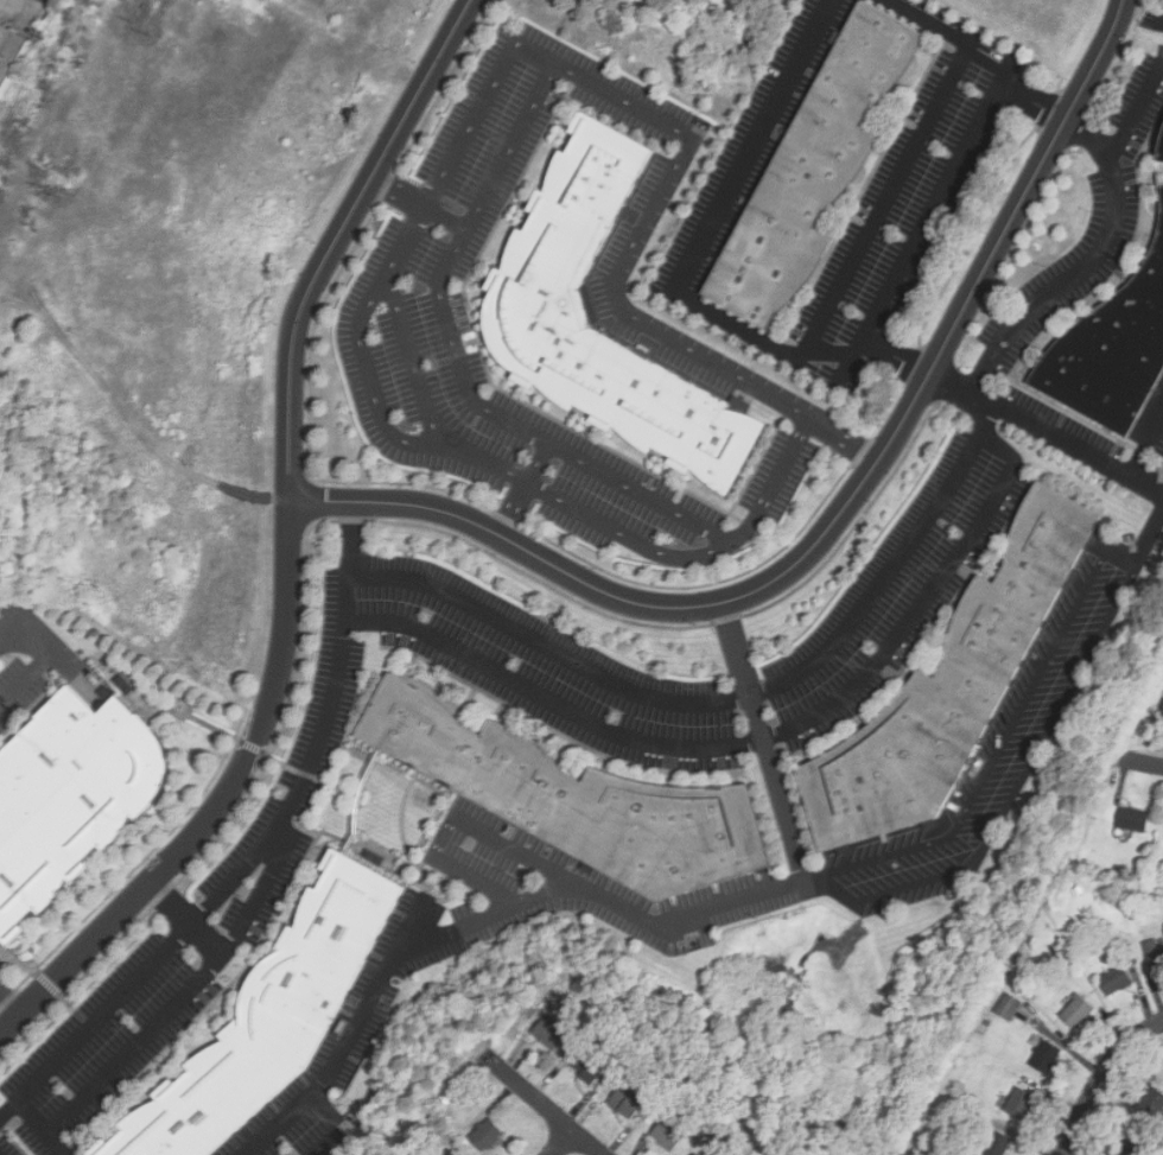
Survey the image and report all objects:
road: (1143, 6)
road: (953, 33)
building: (9, 53)
road: (538, 55)
road: (1034, 101)
road: (1143, 106)
road: (565, 121)
building: (1162, 156)
building: (816, 169)
road: (523, 199)
road: (418, 204)
road: (339, 239)
road: (628, 253)
road: (483, 280)
building: (538, 305)
road: (1011, 329)
road: (484, 336)
road: (764, 339)
road: (468, 342)
building: (1112, 354)
road: (898, 357)
road: (487, 372)
road: (955, 379)
road: (517, 383)
road: (373, 387)
road: (593, 430)
road: (1149, 442)
road: (794, 449)
road: (539, 463)
road: (672, 472)
road: (618, 481)
road: (513, 508)
road: (837, 521)
road: (351, 539)
road: (896, 566)
road: (738, 647)
road: (548, 648)
road: (47, 654)
building: (953, 690)
road: (43, 700)
road: (169, 704)
road: (28, 706)
road: (158, 716)
road: (754, 742)
road: (273, 755)
road: (1144, 763)
road: (780, 786)
road: (360, 799)
building: (579, 799)
building: (70, 800)
building: (428, 801)
road: (222, 807)
road: (456, 818)
building: (1133, 821)
road: (402, 830)
road: (317, 858)
building: (1119, 869)
building: (1156, 880)
road: (217, 894)
road: (735, 900)
building: (1148, 903)
building: (1157, 903)
road: (188, 920)
road: (408, 929)
road: (274, 935)
road: (15, 957)
building: (1156, 962)
road: (33, 971)
building: (1117, 981)
road: (49, 983)
road: (225, 989)
road: (185, 994)
road: (12, 999)
building: (1009, 1007)
road: (223, 1013)
building: (1078, 1013)
building: (273, 1018)
building: (989, 1023)
building: (551, 1035)
building: (1044, 1054)
building: (589, 1071)
road: (159, 1073)
road: (1100, 1079)
building: (628, 1104)
road: (542, 1105)
building: (1021, 1105)
building: (1151, 1105)
building: (961, 1110)
road: (8, 1113)
road: (341, 1127)
building: (627, 1131)
road: (94, 1135)
building: (488, 1136)
building: (669, 1136)
road: (563, 1143)
building: (998, 1144)
building: (1127, 1148)
road: (65, 1149)
building: (458, 1151)
park: (368, 1153)

